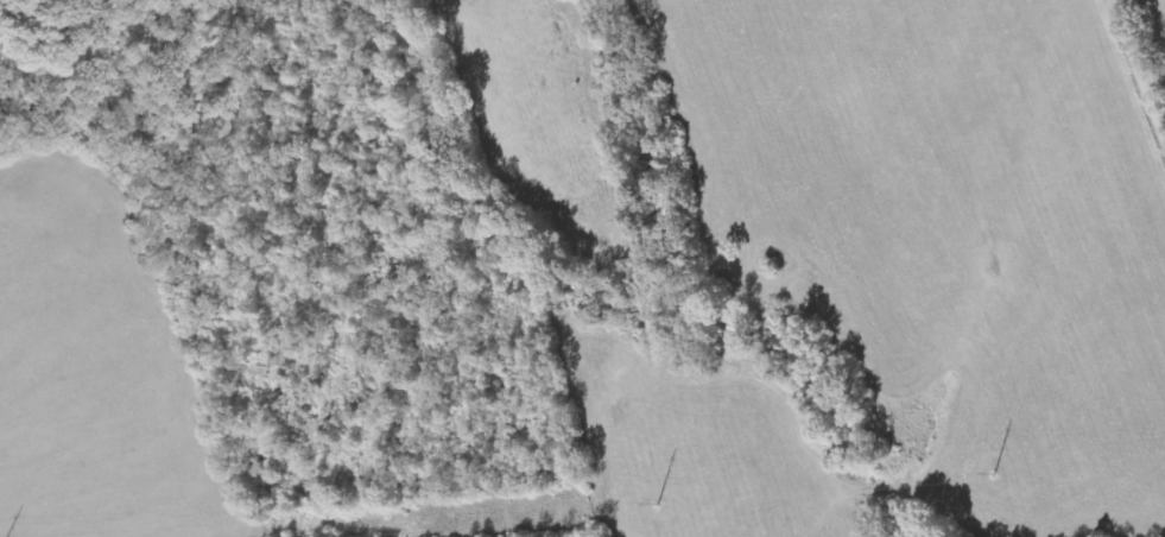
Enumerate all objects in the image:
road: (1139, 82)

